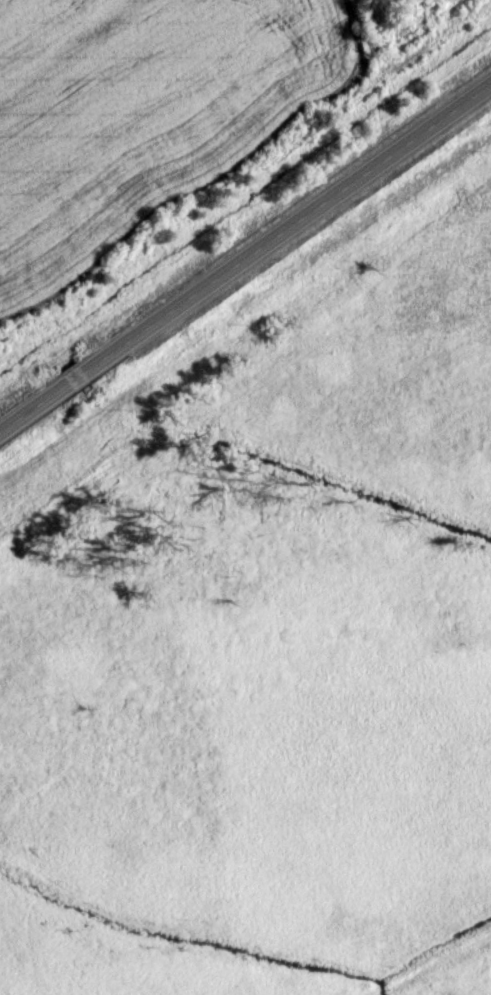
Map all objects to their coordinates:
road: (245, 290)

